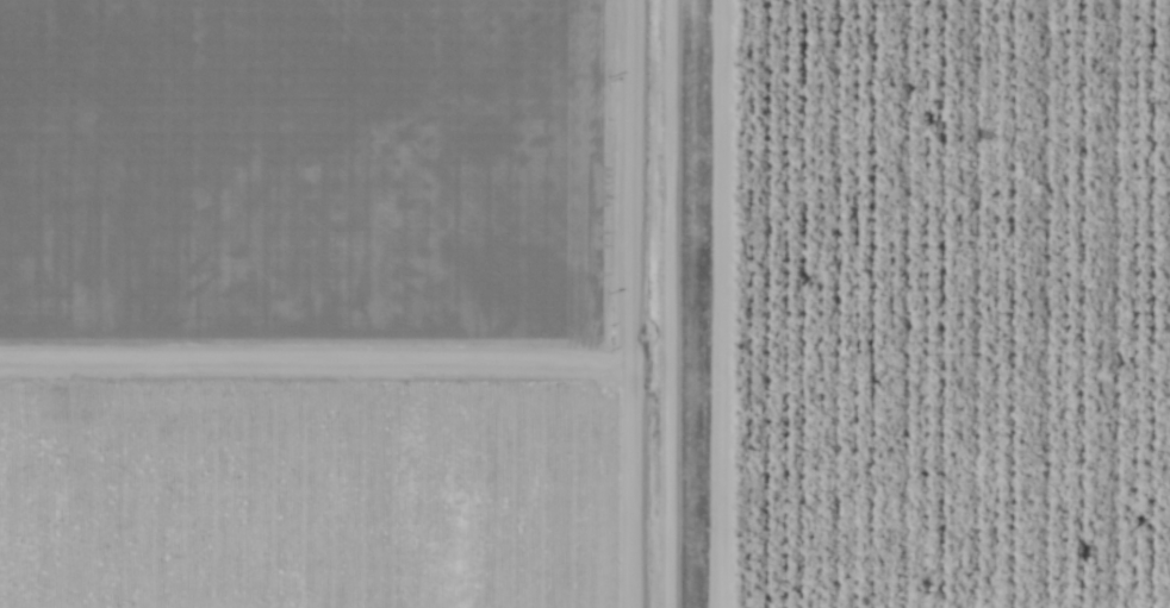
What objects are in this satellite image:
road: (726, 303)
road: (362, 347)

